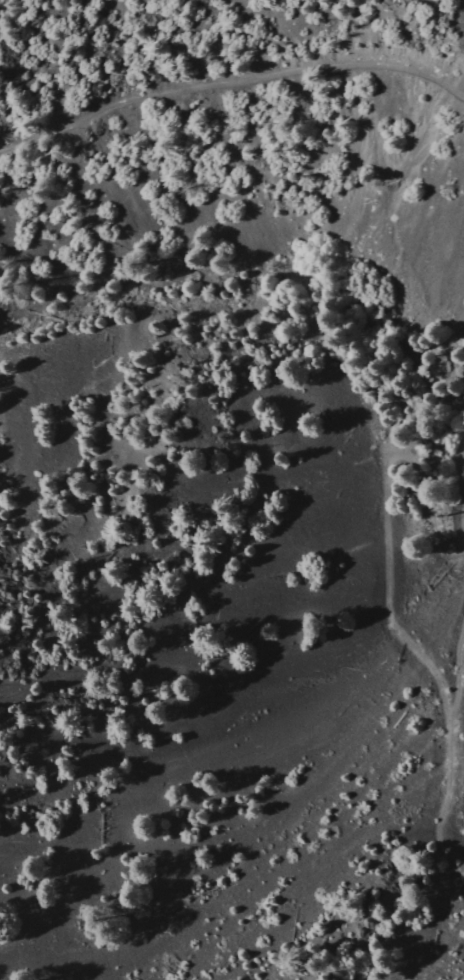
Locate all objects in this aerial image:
road: (231, 82)

